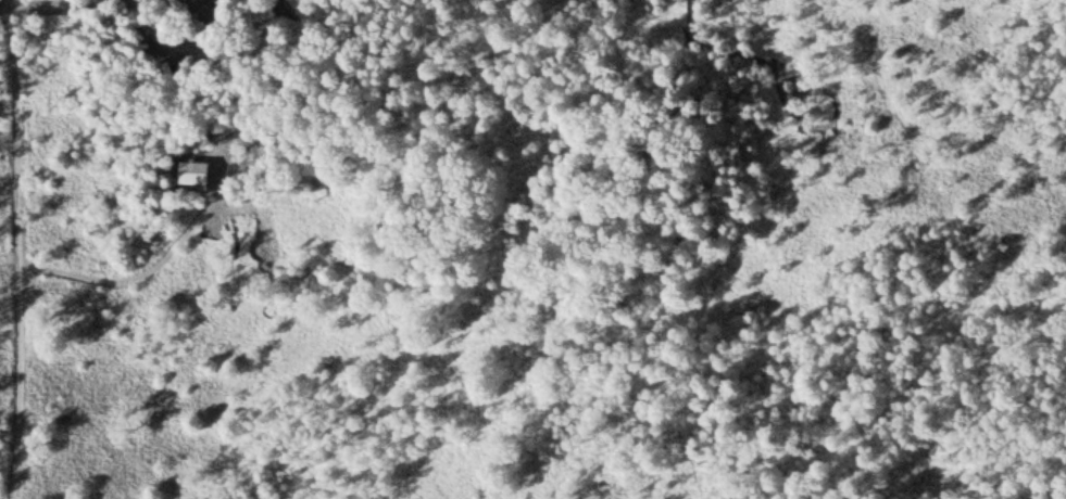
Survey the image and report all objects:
road: (16, 119)
building: (262, 146)
road: (21, 369)

